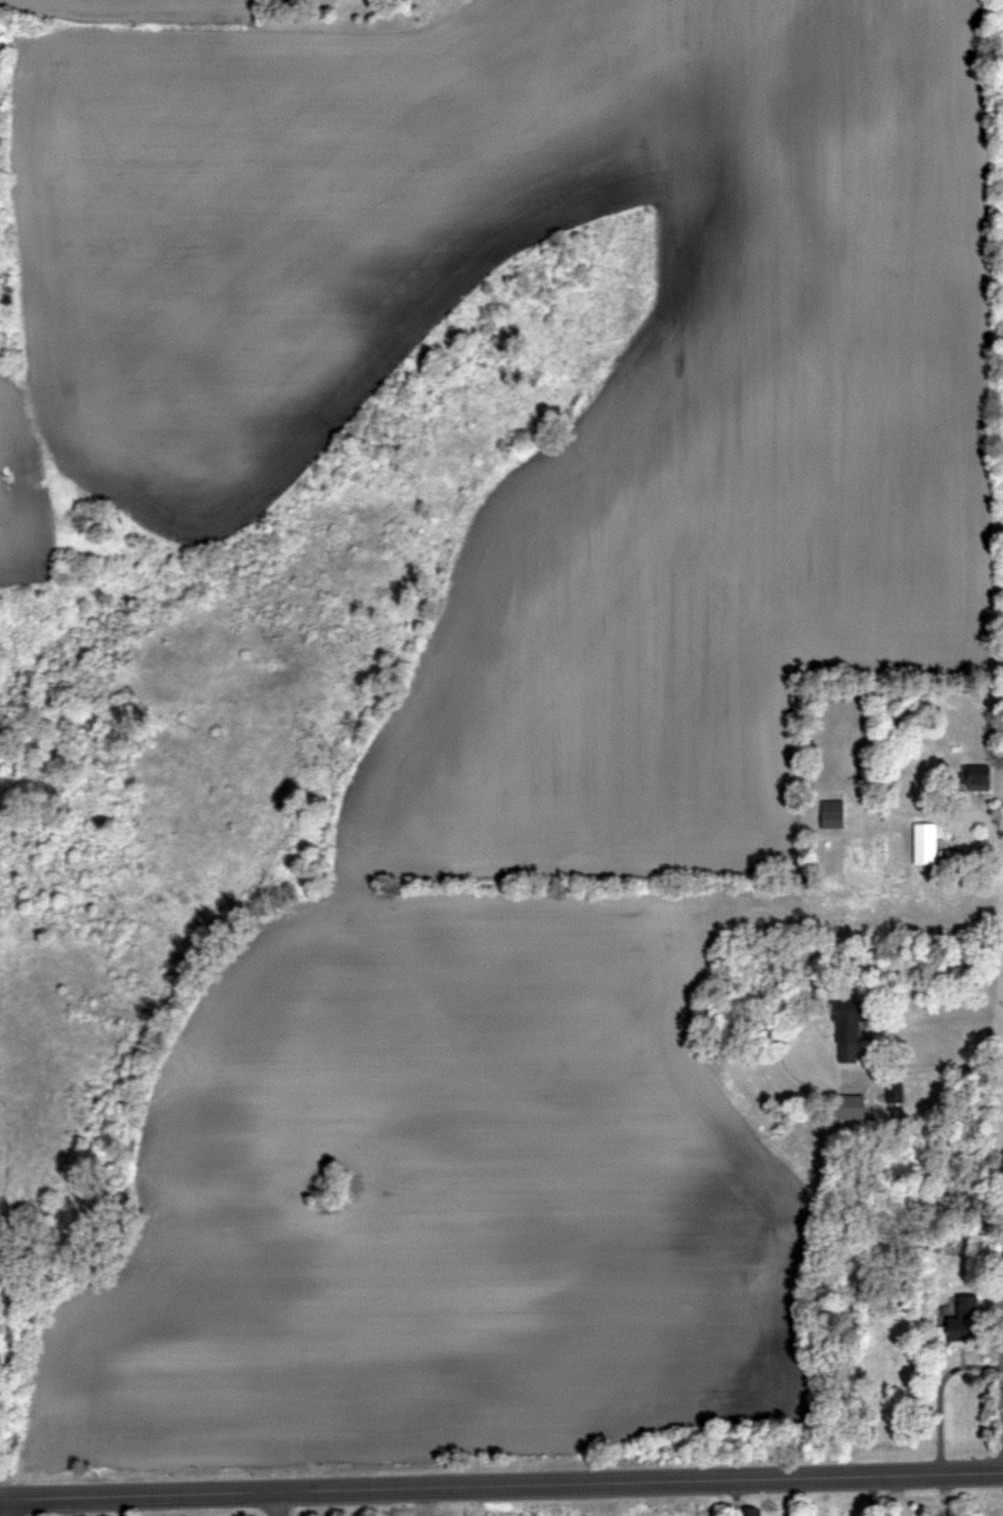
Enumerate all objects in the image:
building: (976, 776)
building: (833, 813)
building: (925, 842)
road: (968, 843)
building: (848, 1031)
road: (922, 1071)
building: (895, 1091)
road: (999, 1129)
building: (965, 1322)
road: (936, 1397)
road: (501, 1489)
road: (272, 1506)
building: (752, 1511)
building: (852, 1513)

